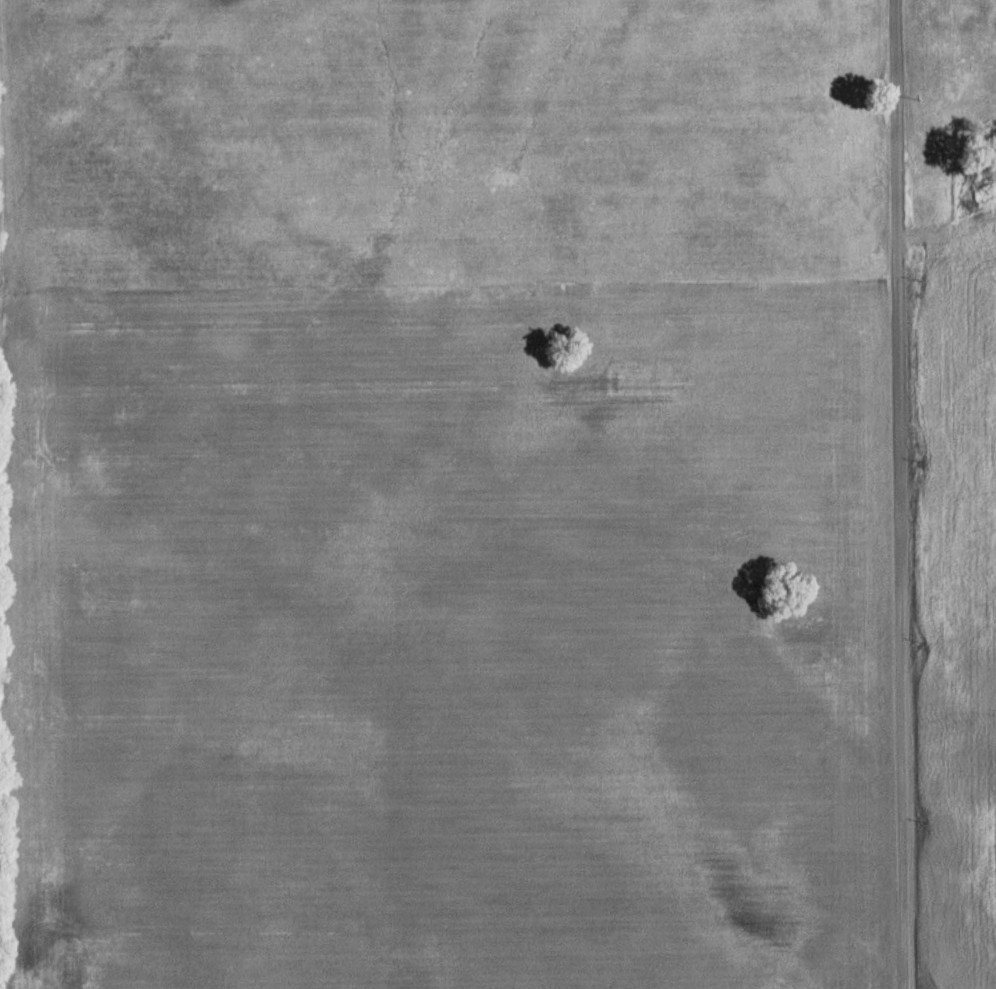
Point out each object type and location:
road: (903, 494)

